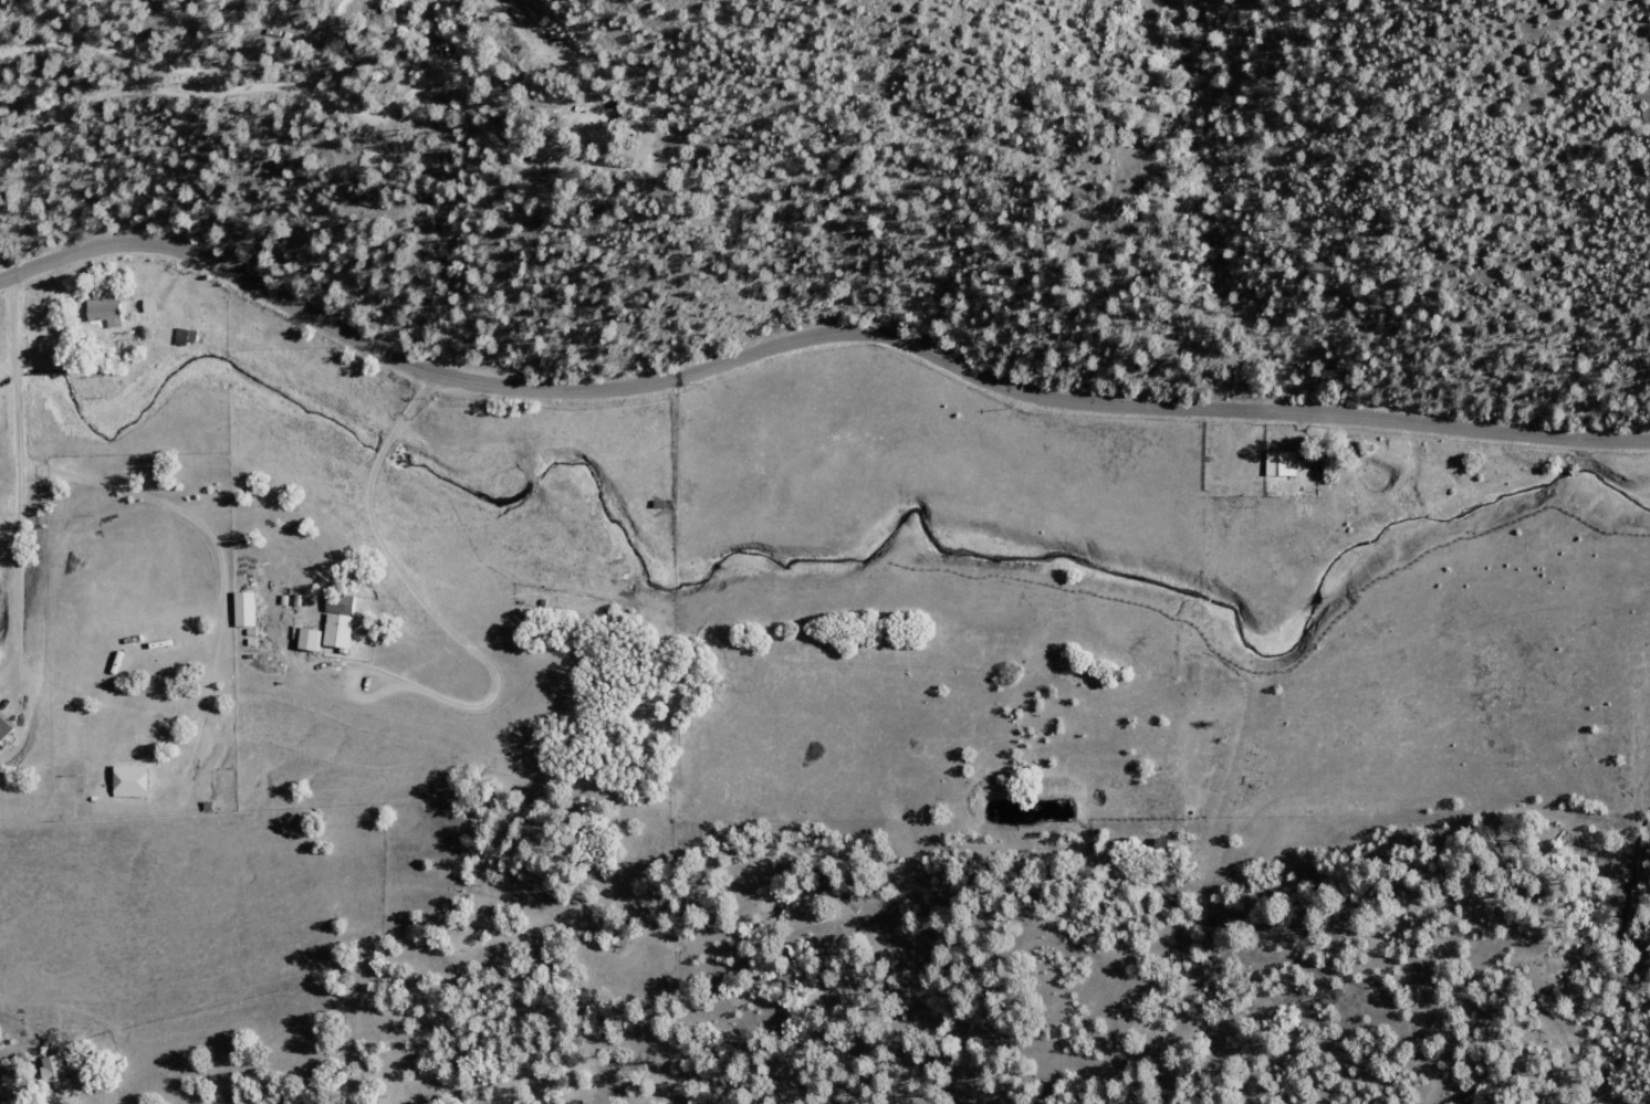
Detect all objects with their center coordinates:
building: (149, 306)
building: (104, 313)
road: (807, 337)
building: (1280, 463)
road: (1230, 500)
building: (244, 610)
building: (340, 621)
building: (310, 641)
building: (4, 730)
building: (132, 782)
road: (75, 1064)
building: (54, 1073)

